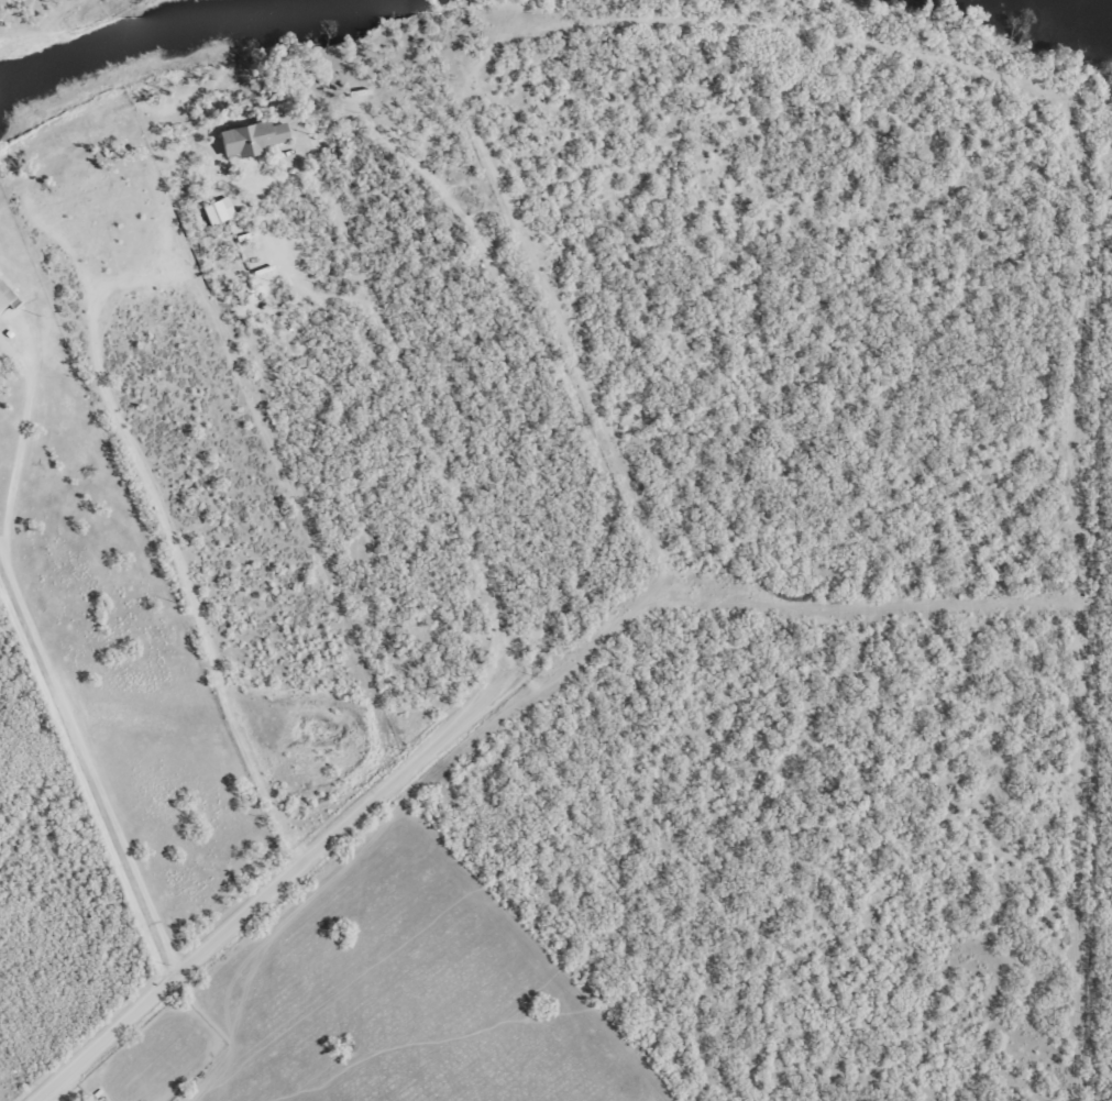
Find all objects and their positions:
road: (32, 8)
river: (1060, 18)
river: (139, 43)
building: (247, 136)
building: (216, 209)
building: (3, 295)
road: (334, 488)
road: (320, 879)

